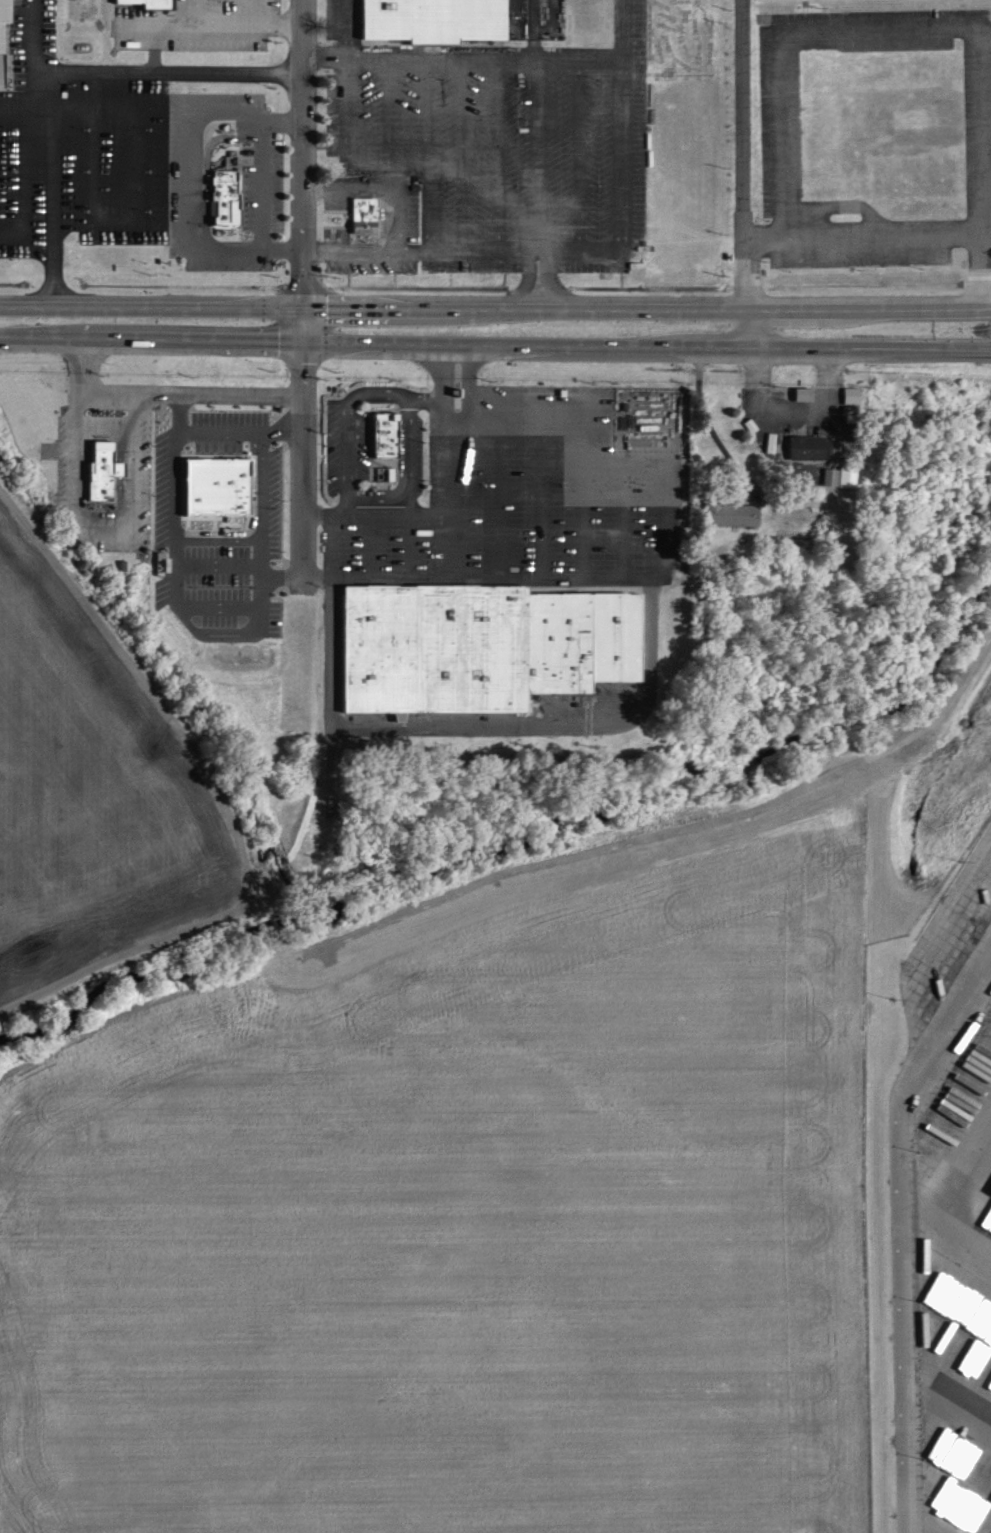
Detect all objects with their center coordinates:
building: (155, 3)
building: (438, 19)
road: (799, 31)
building: (6, 36)
road: (58, 73)
building: (234, 158)
road: (304, 172)
road: (745, 175)
building: (228, 196)
building: (368, 213)
road: (868, 233)
road: (982, 260)
traffic signals: (303, 312)
road: (495, 312)
traffic signals: (303, 345)
road: (495, 349)
road: (189, 392)
building: (807, 392)
building: (855, 394)
building: (625, 410)
building: (390, 434)
building: (811, 446)
building: (106, 469)
building: (835, 475)
building: (852, 475)
building: (221, 485)
building: (735, 513)
building: (486, 644)

